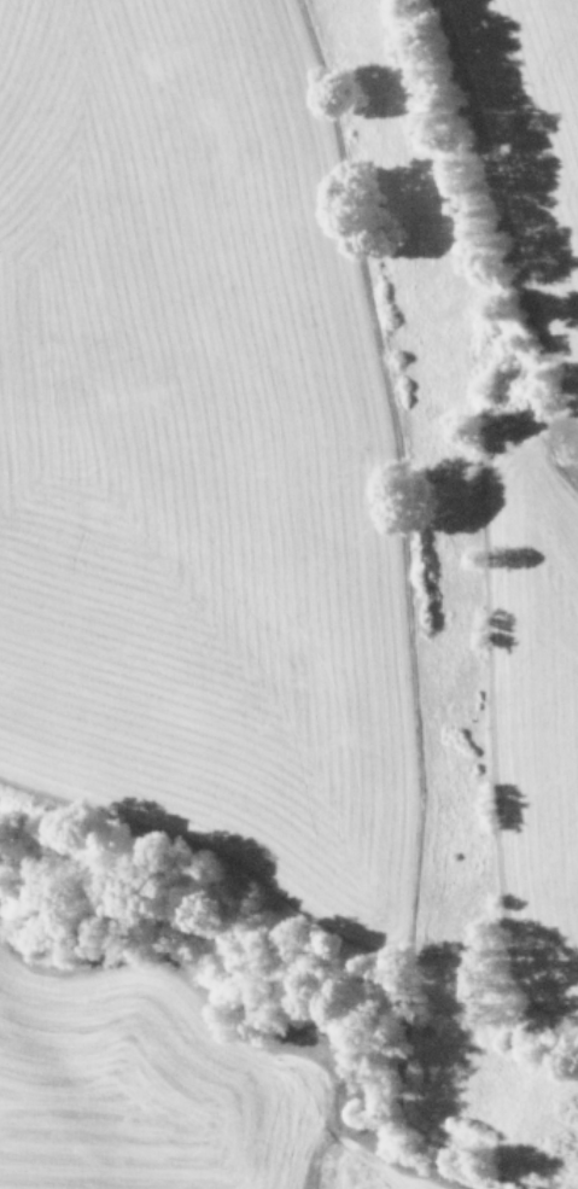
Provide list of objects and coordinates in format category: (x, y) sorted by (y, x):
crop: (304, 447)
crop: (156, 1103)

